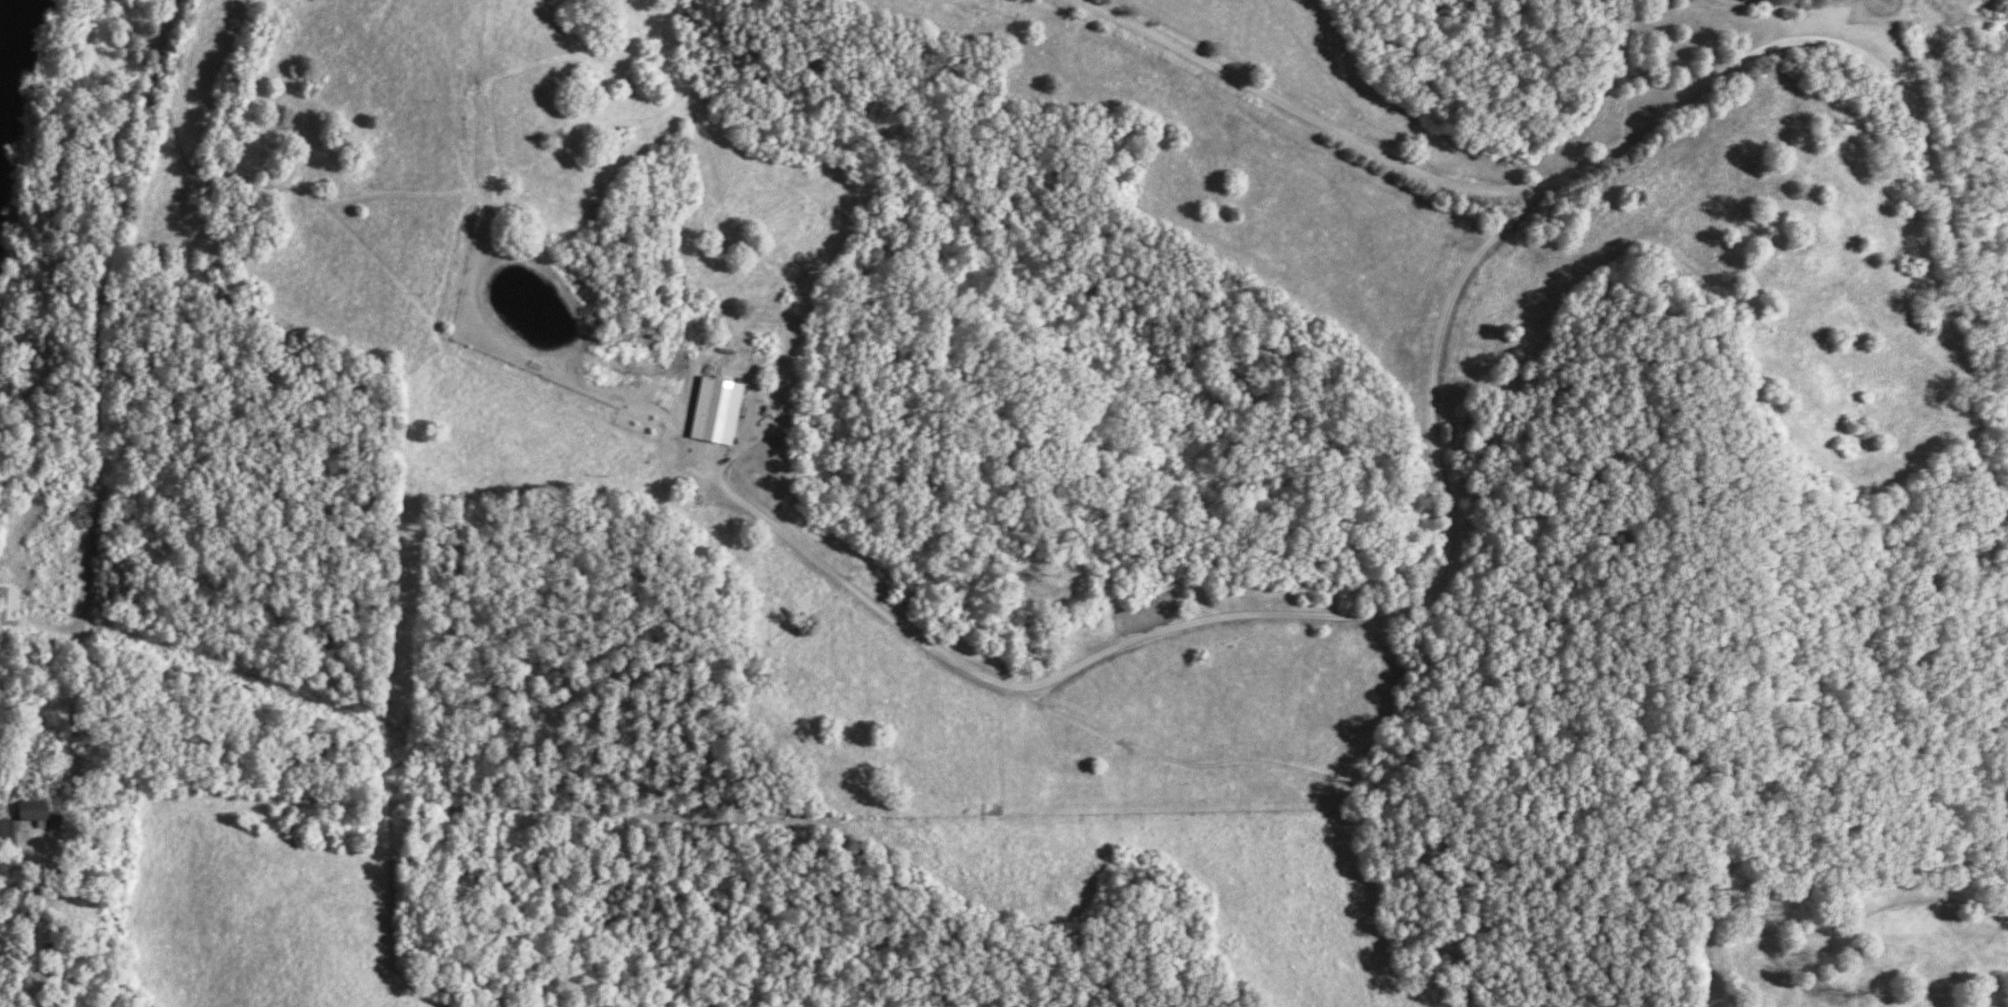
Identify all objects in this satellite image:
road: (1775, 26)
road: (1649, 118)
road: (100, 310)
building: (720, 411)
road: (1247, 614)
building: (5, 831)
road: (40, 933)

